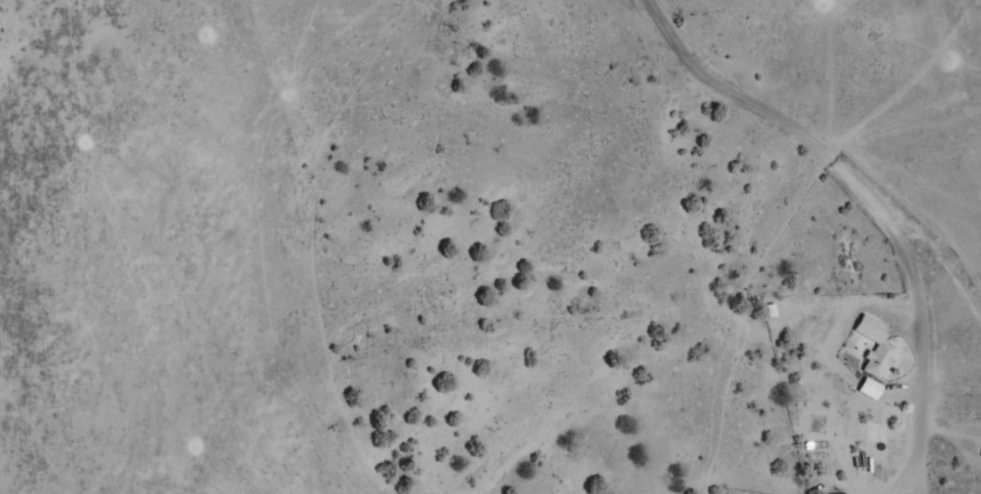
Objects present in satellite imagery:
building: (771, 310)
building: (876, 345)
road: (0, 395)

